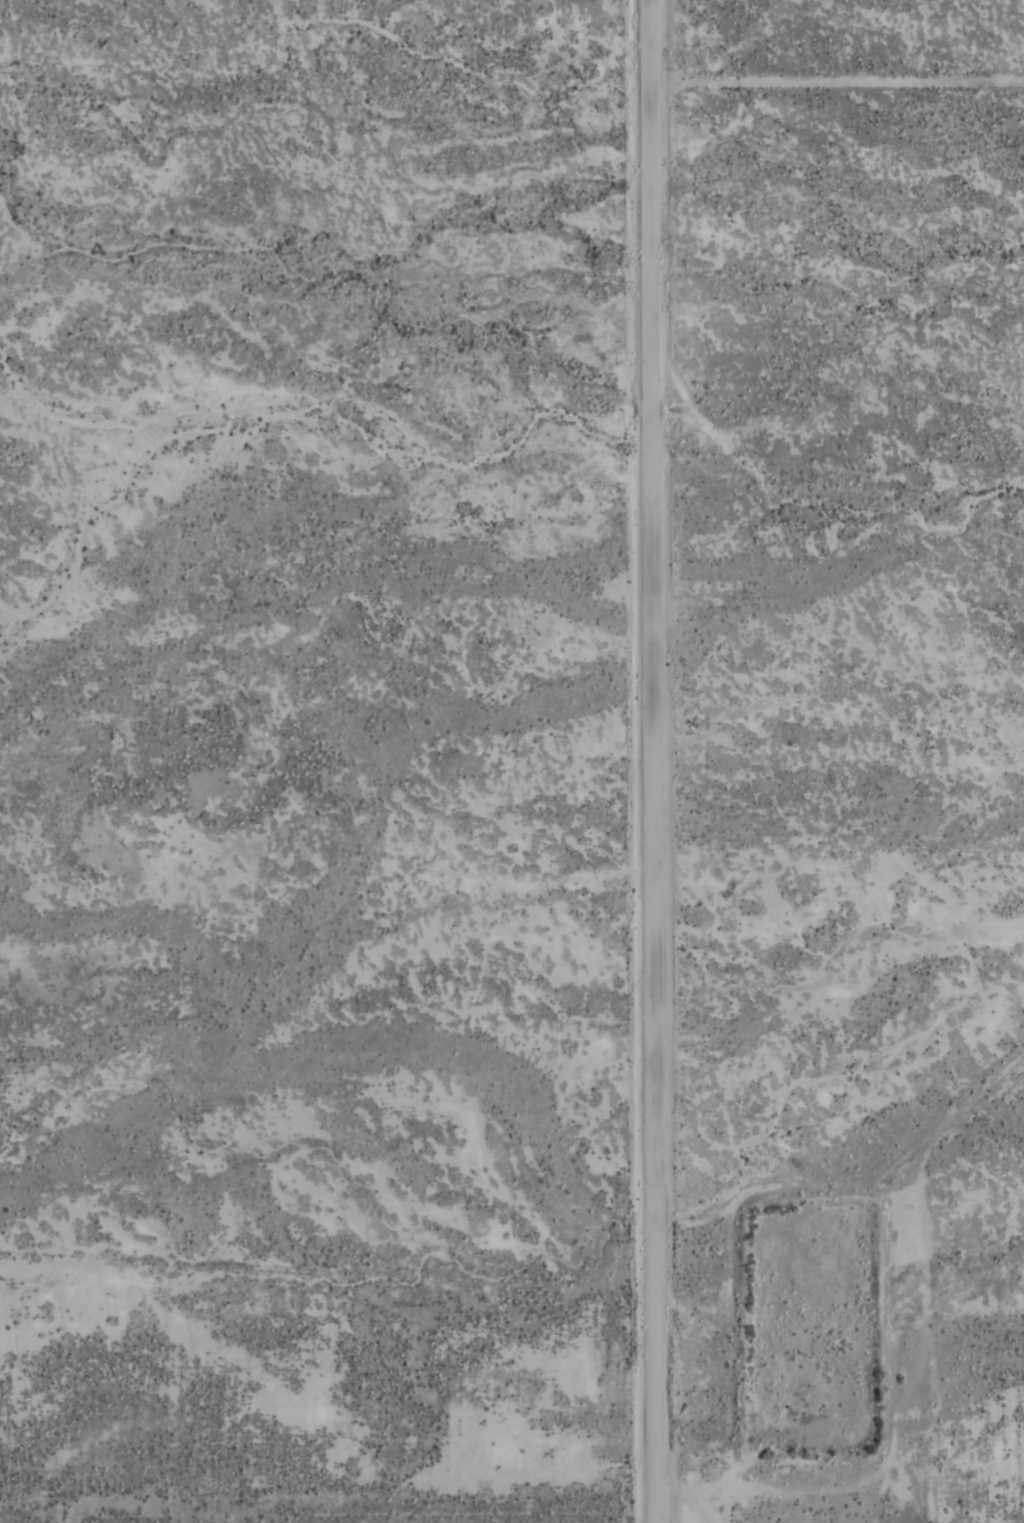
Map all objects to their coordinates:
road: (647, 761)

